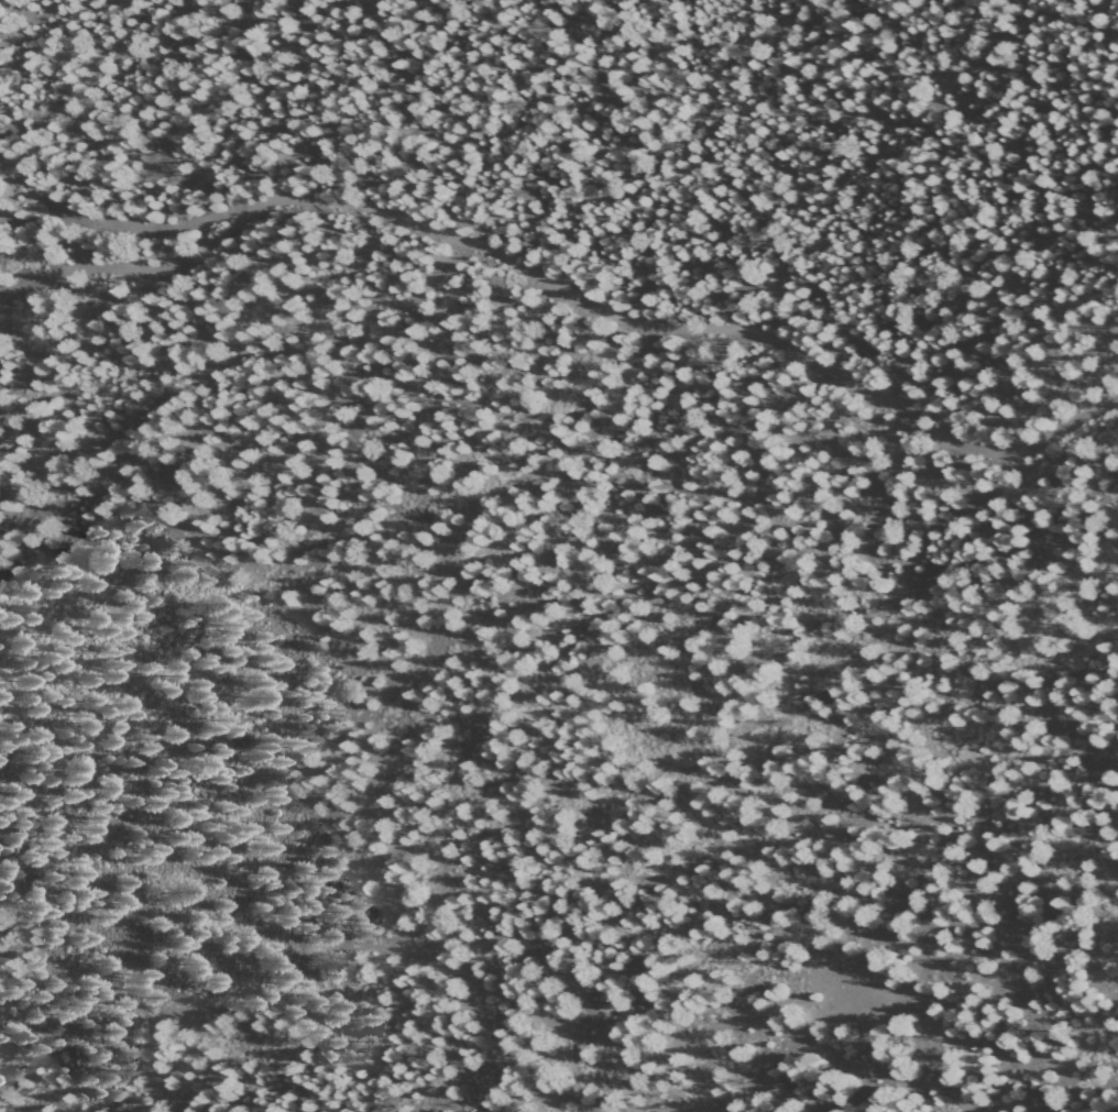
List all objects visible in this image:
road: (925, 64)
road: (563, 297)

